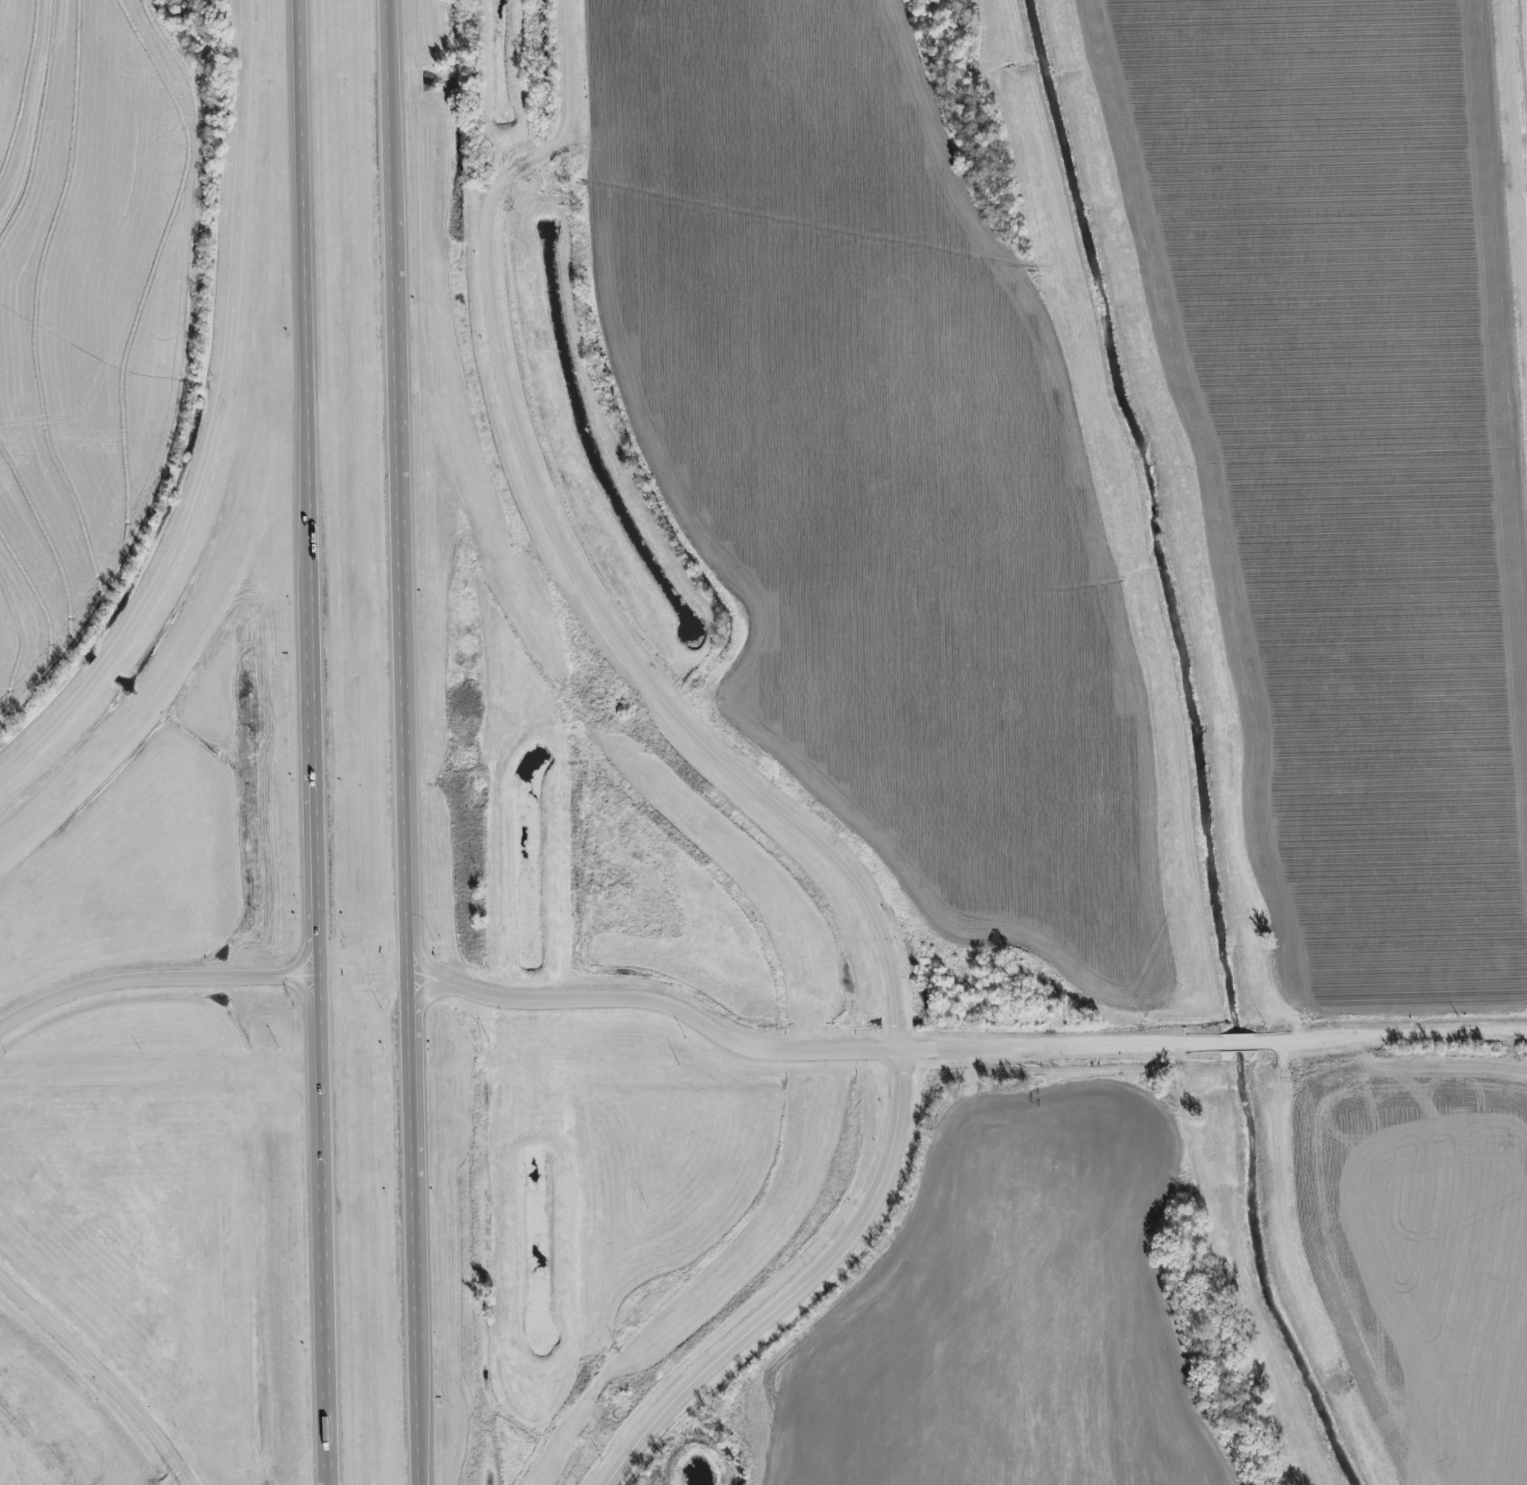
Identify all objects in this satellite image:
road: (573, 106)
road: (222, 426)
road: (321, 742)
road: (408, 742)
river: (1194, 745)
road: (823, 841)
road: (453, 985)
road: (1391, 1035)
road: (1236, 1039)
road: (1060, 1045)
road: (102, 1375)

